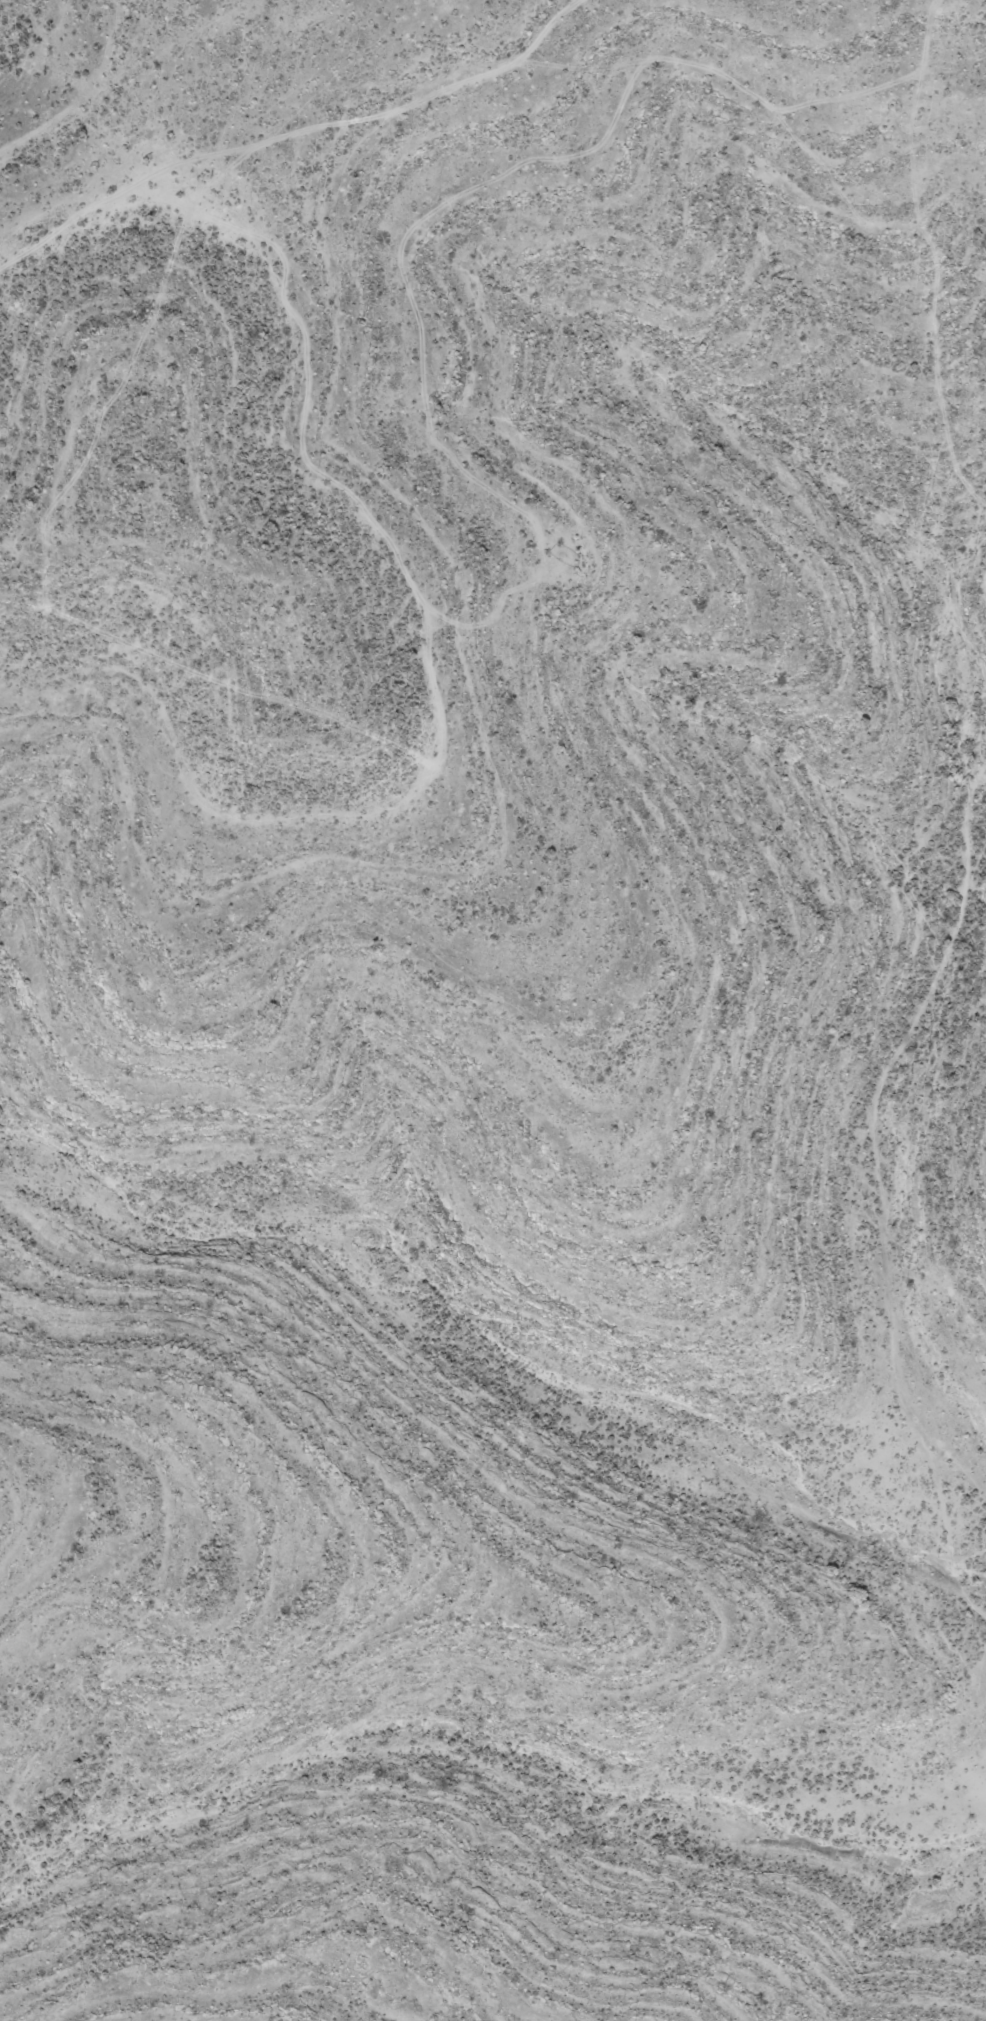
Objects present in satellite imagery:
road: (482, 84)
road: (937, 253)
road: (885, 1195)

